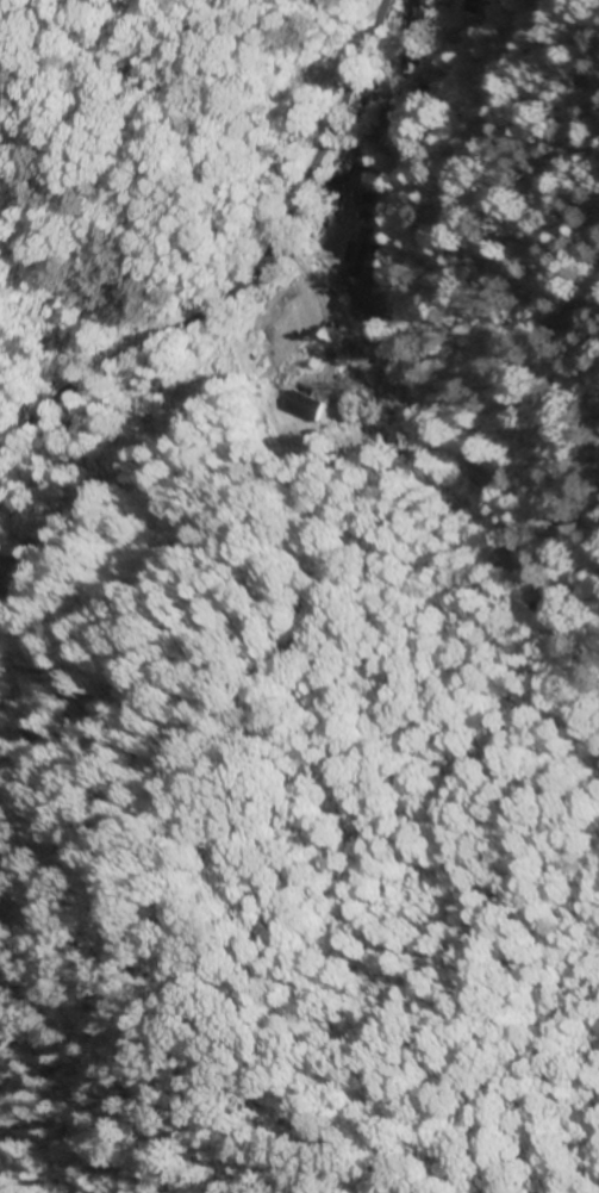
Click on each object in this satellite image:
building: (479, 0)
building: (357, 254)
road: (254, 278)
road: (327, 278)

